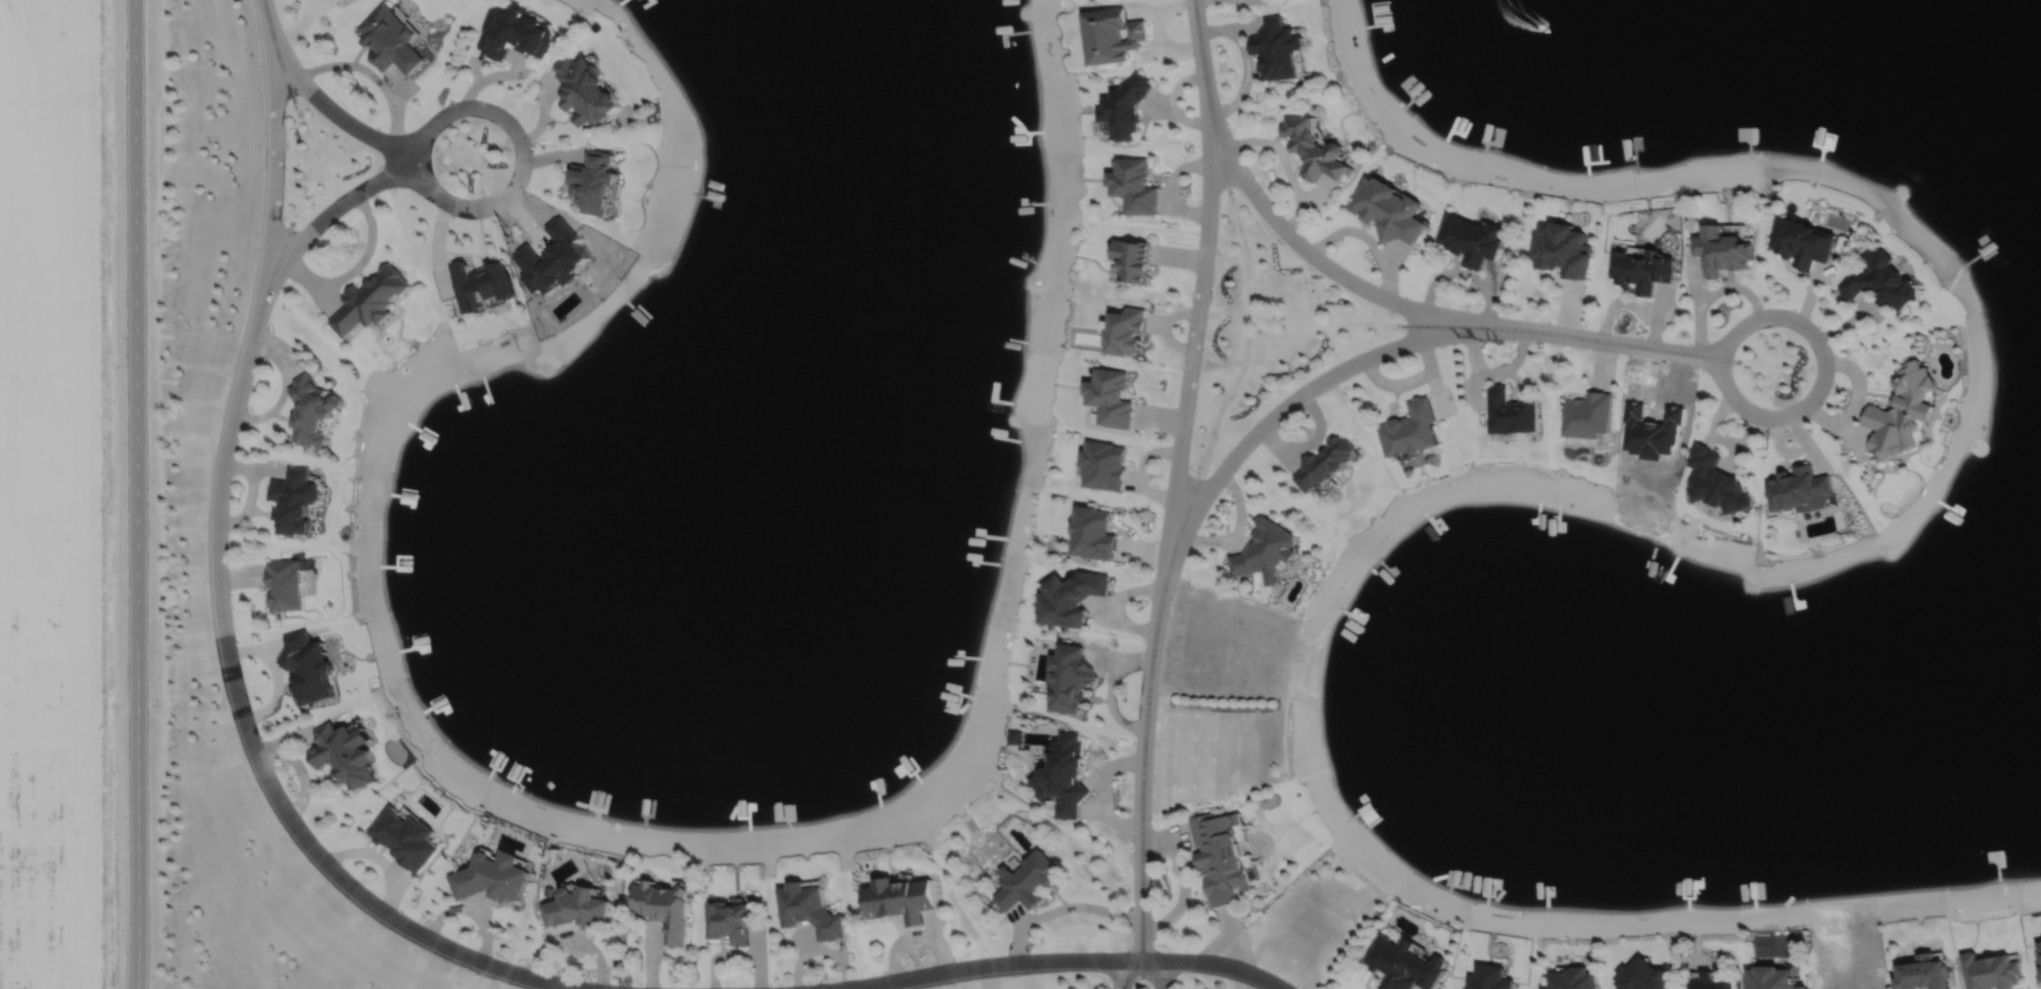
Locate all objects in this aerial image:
road: (297, 27)
building: (517, 33)
building: (1113, 34)
building: (391, 40)
building: (1276, 48)
road: (1200, 61)
road: (372, 74)
building: (588, 93)
building: (1127, 104)
road: (335, 113)
building: (1315, 146)
road: (522, 156)
building: (596, 182)
building: (1135, 184)
building: (1389, 209)
road: (331, 211)
building: (1471, 239)
building: (1803, 241)
building: (1563, 249)
building: (1722, 249)
building: (1134, 258)
road: (355, 267)
building: (1642, 269)
road: (1332, 270)
building: (1883, 280)
building: (483, 284)
building: (372, 299)
building: (1128, 330)
road: (1619, 342)
road: (1823, 377)
road: (1304, 392)
building: (1112, 396)
building: (986, 408)
building: (316, 410)
building: (1513, 412)
building: (1903, 412)
building: (1590, 414)
building: (1411, 430)
road: (229, 431)
building: (1325, 463)
building: (1105, 464)
building: (1717, 482)
building: (1801, 490)
crop: (49, 494)
road: (135, 494)
building: (298, 499)
building: (1094, 533)
road: (1167, 540)
building: (1265, 552)
building: (287, 584)
building: (1072, 598)
building: (309, 668)
building: (1072, 679)
building: (1016, 735)
building: (345, 750)
building: (1066, 773)
building: (1372, 814)
building: (405, 836)
building: (1221, 854)
building: (493, 874)
building: (1028, 880)
road: (1184, 886)
building: (900, 896)
building: (577, 905)
building: (667, 905)
building: (809, 908)
building: (731, 919)
road: (429, 938)
building: (1404, 963)
road: (1214, 964)
road: (996, 965)
building: (1992, 970)
building: (1926, 972)
road: (1128, 973)
road: (1152, 973)
building: (1643, 975)
building: (1491, 977)
building: (1772, 977)
building: (1574, 978)
building: (1709, 980)

